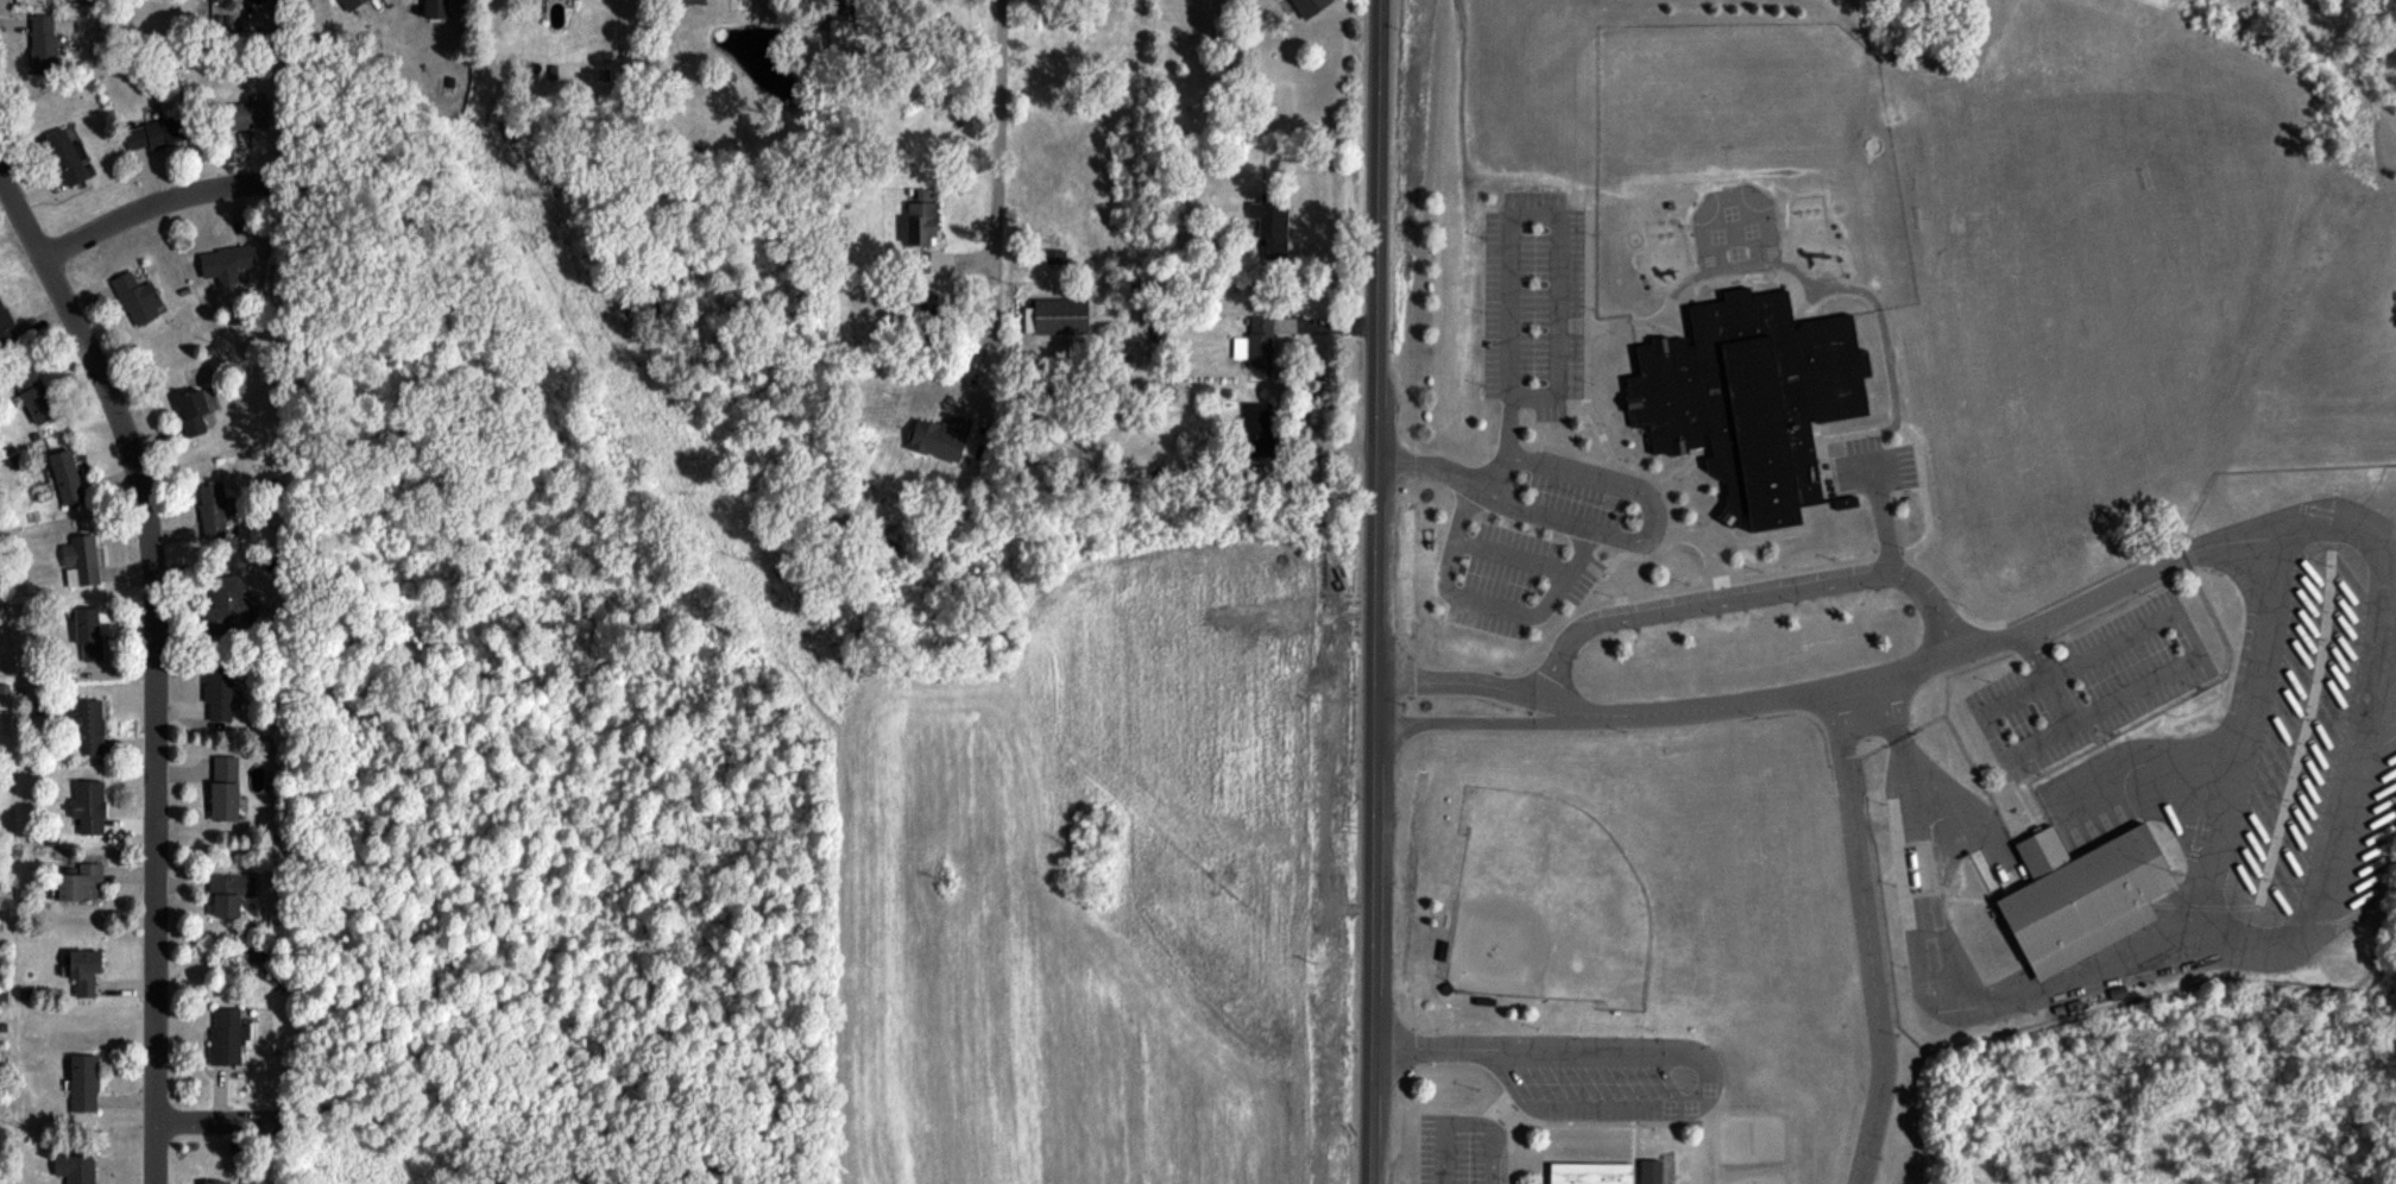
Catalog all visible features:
building: (217, 0)
building: (685, 1)
building: (351, 4)
building: (1309, 6)
building: (435, 8)
building: (37, 56)
building: (244, 114)
building: (155, 133)
building: (68, 157)
road: (990, 175)
road: (126, 214)
road: (1513, 215)
building: (921, 218)
building: (1270, 225)
building: (1054, 256)
building: (919, 262)
building: (226, 263)
building: (137, 297)
building: (1060, 316)
building: (6, 328)
building: (1255, 344)
building: (33, 395)
building: (1749, 402)
building: (194, 409)
building: (1256, 428)
building: (939, 437)
road: (1430, 473)
building: (65, 477)
building: (214, 509)
road: (1880, 523)
road: (1651, 530)
road: (1512, 555)
building: (80, 561)
road: (2155, 572)
road: (1373, 591)
road: (1483, 600)
road: (1741, 600)
building: (221, 610)
road: (2175, 616)
road: (1131, 618)
building: (88, 632)
road: (153, 665)
road: (1457, 682)
building: (219, 691)
road: (2013, 698)
road: (1761, 700)
road: (2056, 705)
road: (1555, 710)
building: (87, 725)
road: (1469, 725)
building: (223, 787)
building: (88, 806)
road: (2332, 833)
building: (80, 882)
building: (229, 893)
building: (2083, 896)
road: (1865, 939)
building: (84, 970)
building: (227, 1035)
road: (1424, 1048)
building: (83, 1083)
road: (1704, 1094)
road: (228, 1122)
road: (1463, 1123)
parking lot: (1458, 1150)
building: (75, 1167)
building: (1602, 1170)
building: (215, 1182)

